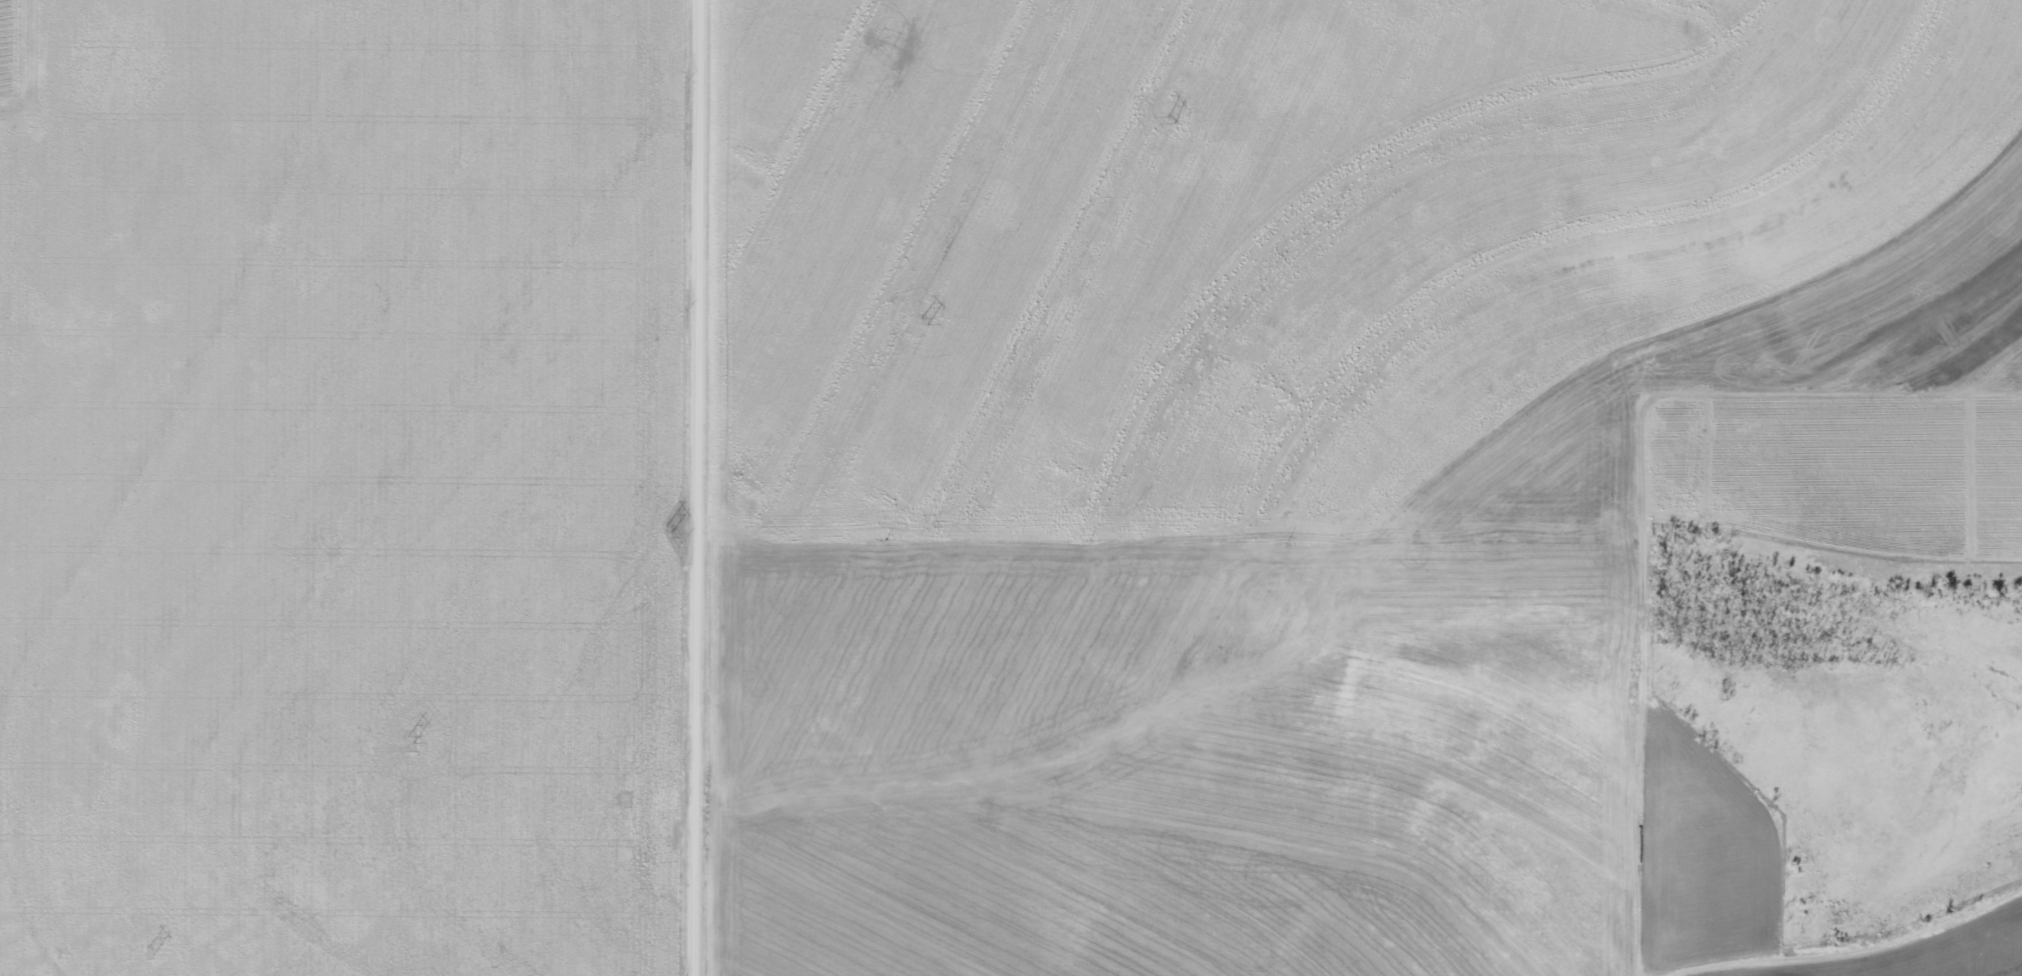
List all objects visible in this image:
power tower: (1162, 119)
power tower: (912, 321)
road: (710, 488)
power tower: (662, 531)
power tower: (410, 739)
road: (1929, 949)
power tower: (149, 954)

